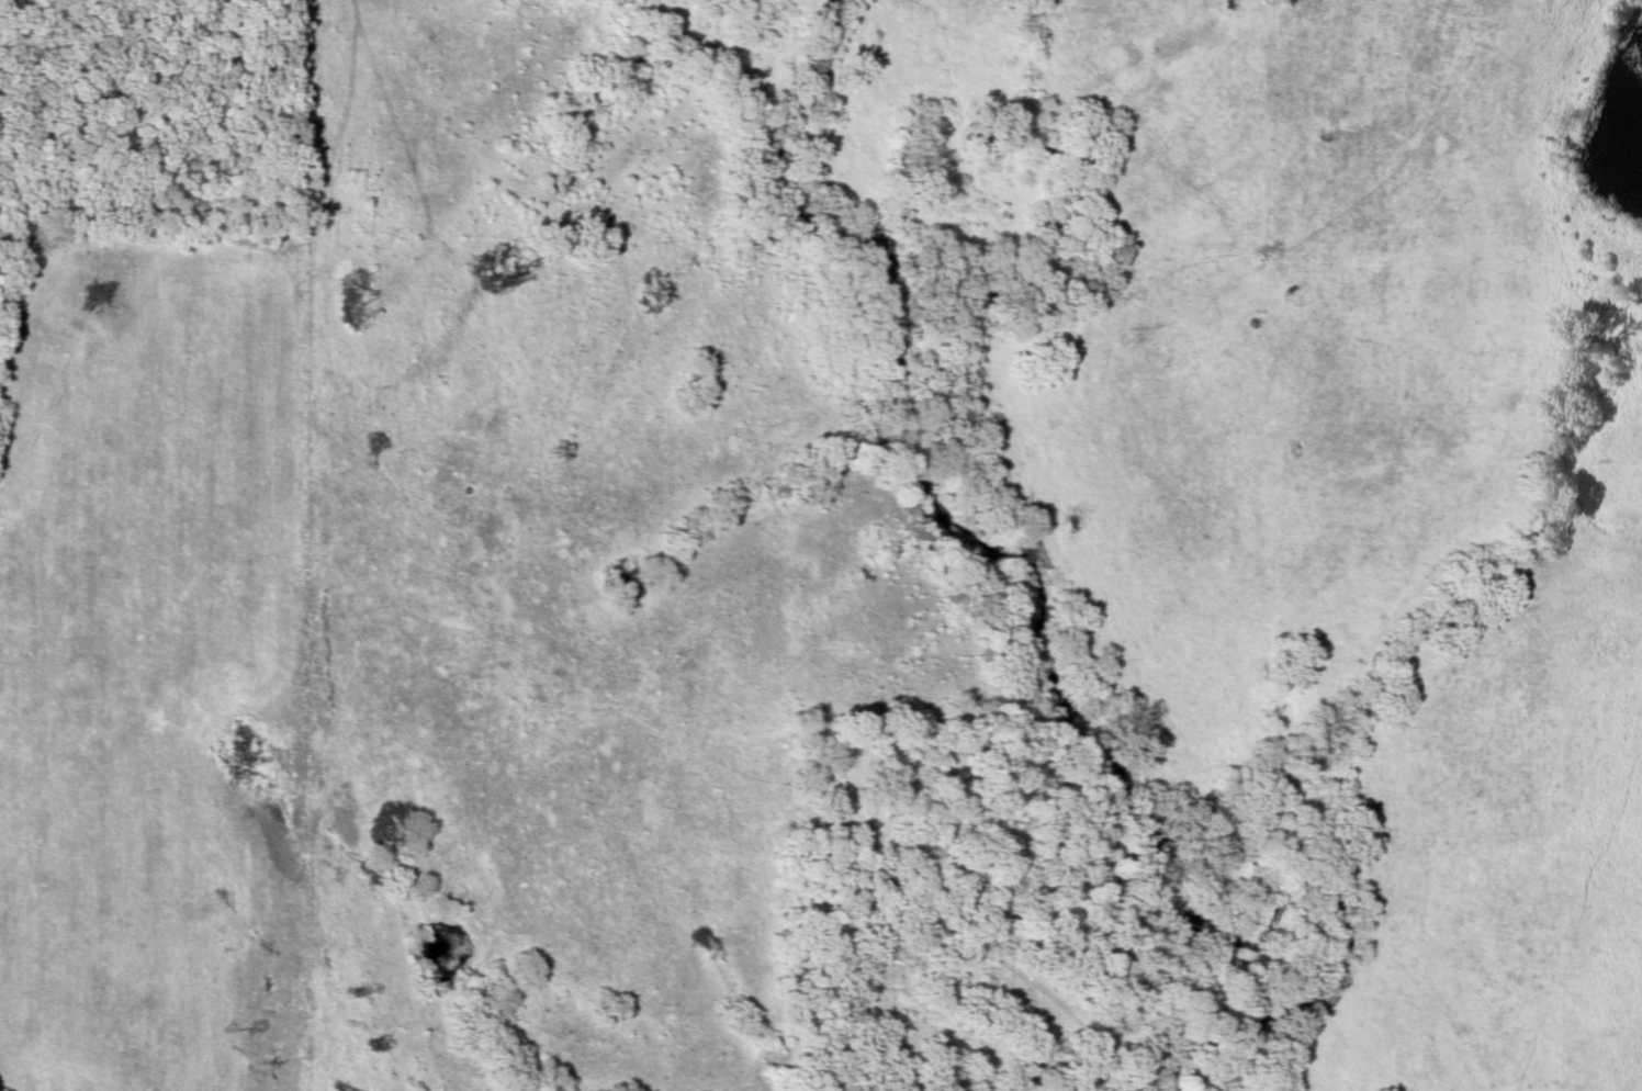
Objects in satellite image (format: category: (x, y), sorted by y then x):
river: (1036, 655)

